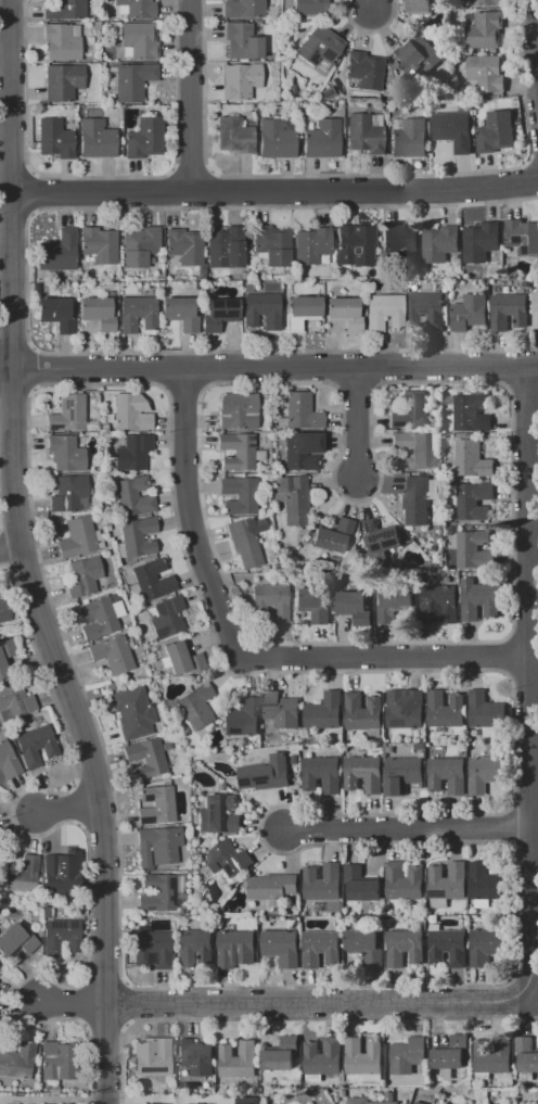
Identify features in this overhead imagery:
building: (489, 2)
building: (421, 5)
building: (310, 7)
building: (138, 8)
road: (377, 8)
building: (243, 9)
building: (64, 10)
building: (485, 29)
road: (536, 30)
building: (138, 39)
building: (242, 40)
building: (61, 42)
building: (320, 46)
building: (417, 53)
building: (363, 69)
building: (486, 72)
building: (240, 79)
building: (62, 81)
building: (132, 81)
road: (191, 97)
building: (453, 129)
building: (496, 131)
building: (364, 132)
building: (234, 135)
building: (55, 138)
building: (278, 138)
building: (321, 138)
building: (409, 138)
building: (95, 139)
building: (144, 139)
road: (276, 193)
building: (522, 236)
building: (401, 241)
building: (481, 241)
building: (440, 242)
building: (99, 244)
building: (272, 244)
building: (356, 244)
building: (141, 245)
building: (183, 245)
building: (311, 245)
building: (225, 246)
building: (57, 251)
building: (426, 309)
building: (536, 309)
building: (262, 310)
building: (383, 310)
building: (510, 310)
building: (179, 312)
building: (302, 312)
building: (344, 312)
building: (470, 312)
building: (98, 313)
building: (137, 313)
building: (218, 313)
building: (55, 314)
road: (274, 368)
road: (5, 369)
building: (410, 410)
building: (238, 411)
building: (302, 411)
building: (67, 413)
building: (130, 413)
building: (471, 413)
road: (357, 424)
building: (411, 448)
building: (300, 449)
building: (132, 452)
building: (236, 452)
building: (64, 453)
building: (472, 458)
building: (67, 493)
building: (239, 495)
building: (133, 497)
building: (293, 497)
building: (417, 498)
building: (474, 500)
road: (190, 518)
building: (137, 535)
building: (333, 535)
building: (379, 535)
building: (76, 537)
building: (244, 544)
road: (8, 549)
building: (475, 549)
road: (18, 558)
building: (82, 576)
building: (152, 579)
building: (313, 599)
building: (479, 600)
building: (270, 601)
building: (351, 601)
building: (395, 602)
building: (438, 604)
building: (3, 611)
building: (165, 617)
building: (95, 619)
building: (112, 653)
building: (4, 657)
building: (181, 658)
road: (383, 658)
road: (528, 685)
building: (14, 700)
building: (195, 706)
building: (281, 709)
building: (445, 709)
building: (485, 709)
building: (324, 711)
building: (363, 711)
building: (407, 711)
building: (131, 712)
building: (242, 718)
building: (35, 746)
building: (165, 746)
building: (419, 747)
building: (144, 758)
building: (7, 761)
building: (267, 773)
building: (322, 773)
building: (363, 773)
building: (486, 773)
building: (401, 774)
building: (447, 775)
building: (154, 805)
road: (67, 809)
building: (218, 814)
road: (409, 828)
building: (157, 845)
building: (229, 858)
building: (60, 872)
building: (18, 875)
building: (403, 880)
building: (485, 880)
building: (323, 881)
building: (361, 883)
building: (447, 883)
building: (272, 886)
building: (156, 892)
building: (60, 936)
building: (15, 940)
building: (366, 944)
building: (486, 944)
building: (193, 946)
building: (282, 947)
building: (405, 947)
building: (448, 947)
building: (151, 948)
building: (235, 948)
building: (321, 948)
road: (71, 1003)
road: (318, 1003)
building: (165, 1027)
building: (460, 1038)
building: (527, 1053)
building: (282, 1054)
building: (408, 1054)
building: (323, 1055)
building: (195, 1056)
building: (363, 1056)
building: (16, 1057)
building: (152, 1057)
building: (492, 1057)
building: (239, 1059)
building: (56, 1061)
building: (449, 1062)
road: (164, 1099)
building: (359, 1099)
road: (51, 1100)
building: (247, 1100)
building: (68, 1103)
building: (198, 1103)
building: (316, 1103)
building: (418, 1103)

